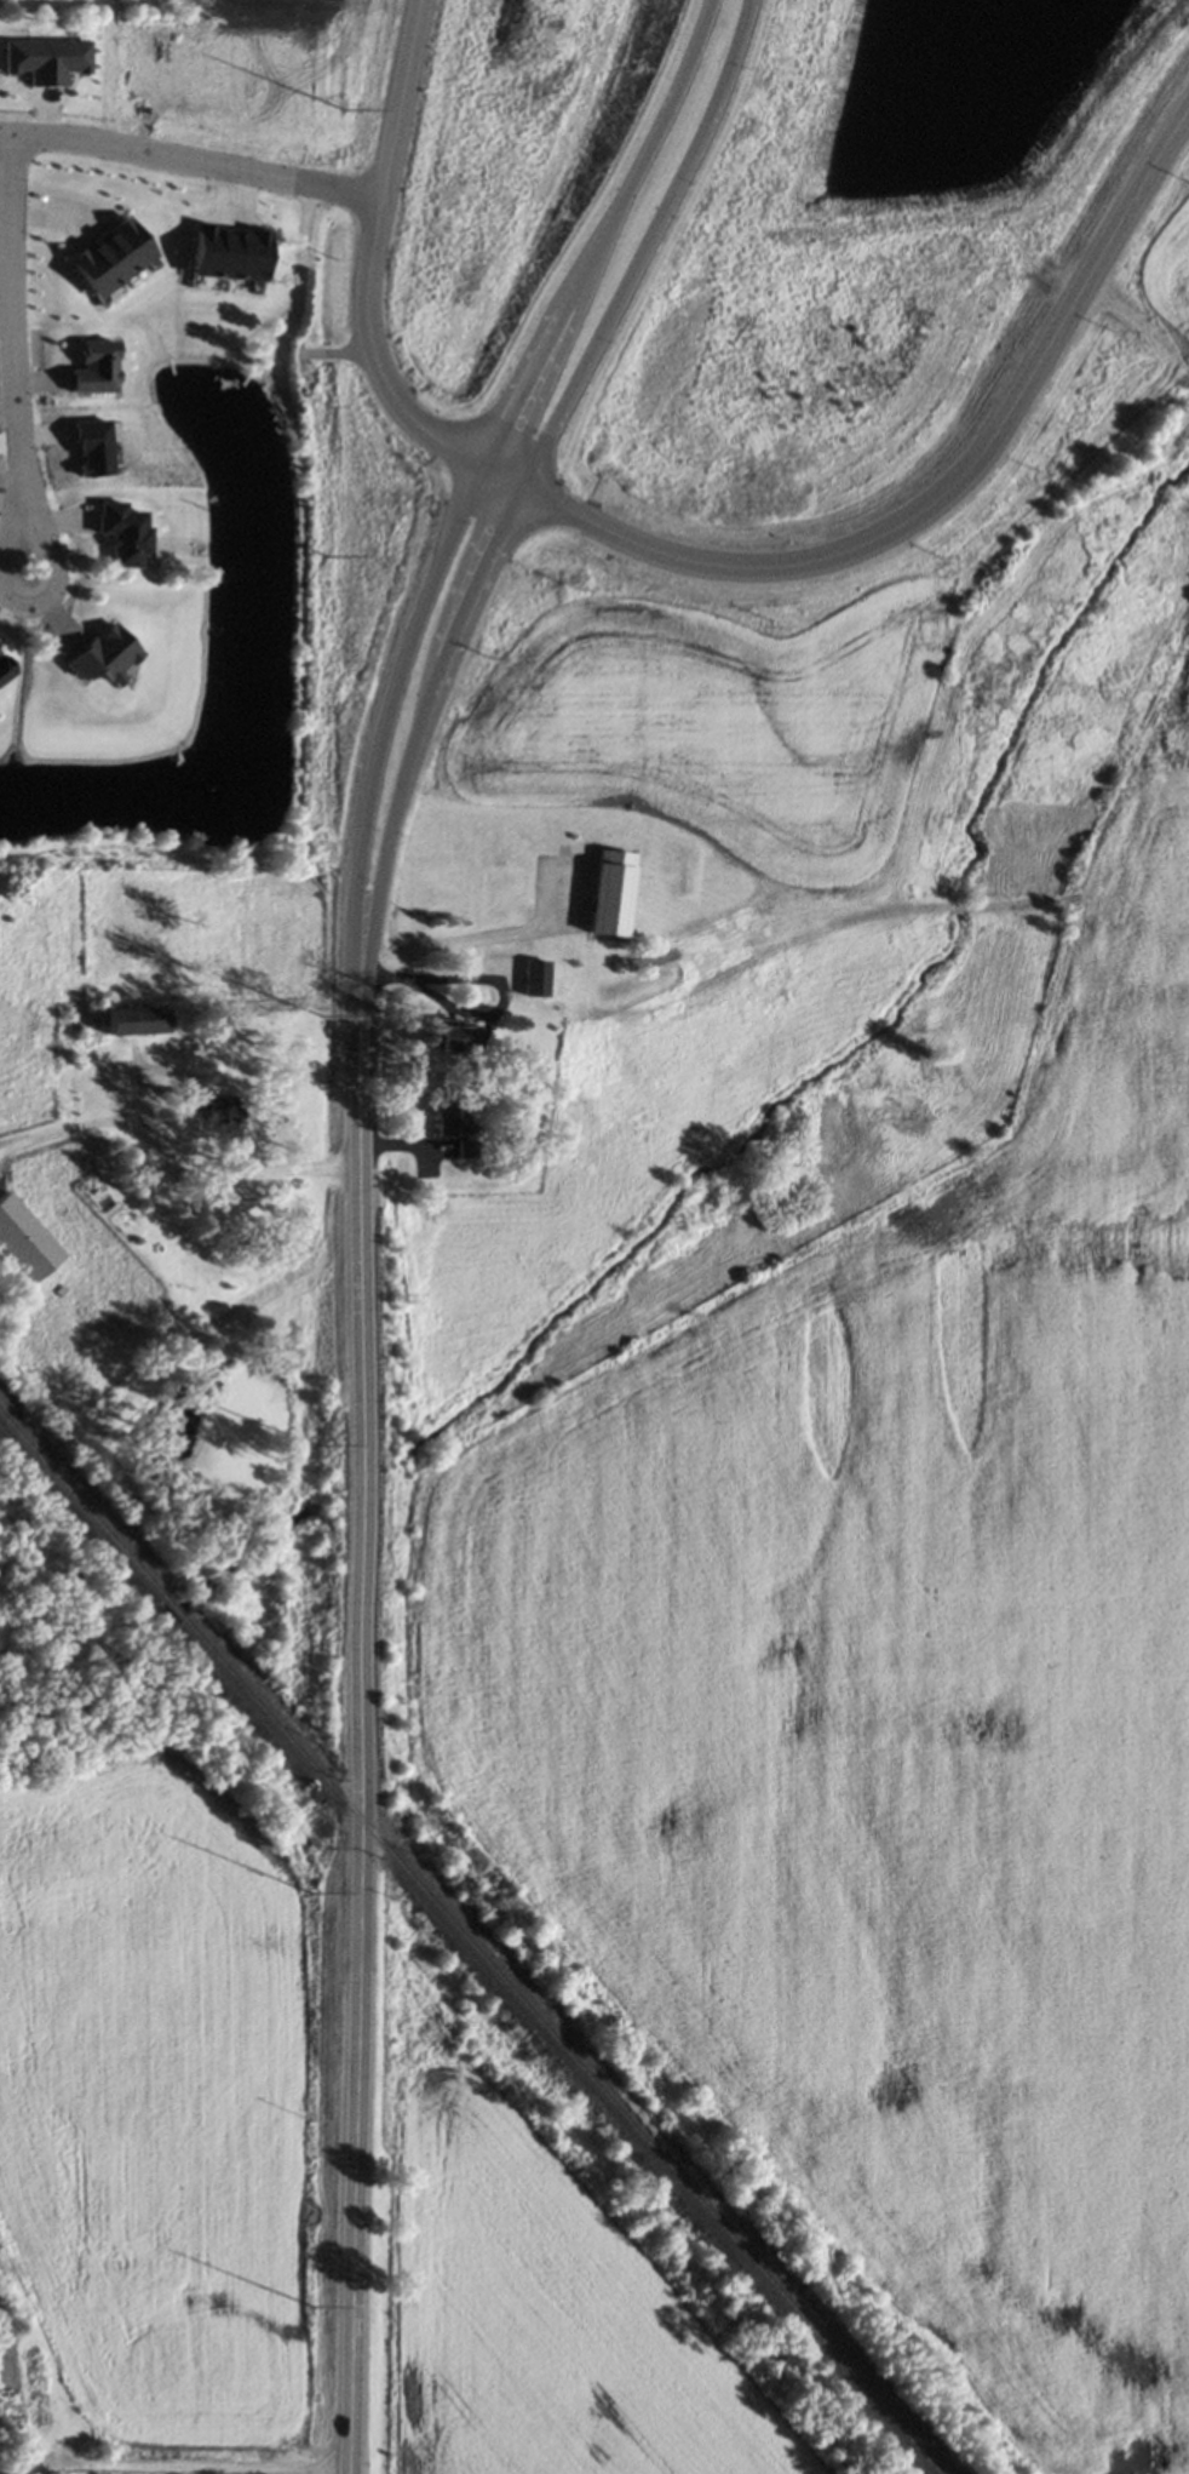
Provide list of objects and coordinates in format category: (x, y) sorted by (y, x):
building: (45, 59)
road: (190, 159)
road: (578, 228)
building: (226, 251)
road: (656, 251)
building: (107, 260)
road: (366, 275)
road: (8, 304)
building: (93, 367)
road: (941, 492)
road: (453, 512)
road: (500, 516)
building: (121, 533)
road: (30, 605)
building: (102, 654)
building: (4, 668)
building: (499, 894)
road: (489, 979)
building: (133, 1019)
building: (453, 1035)
building: (218, 1112)
building: (449, 1118)
building: (461, 1147)
road: (173, 1150)
building: (23, 1239)
railway: (81, 1508)
railway: (173, 1611)
road: (361, 1770)
railway: (557, 2048)

